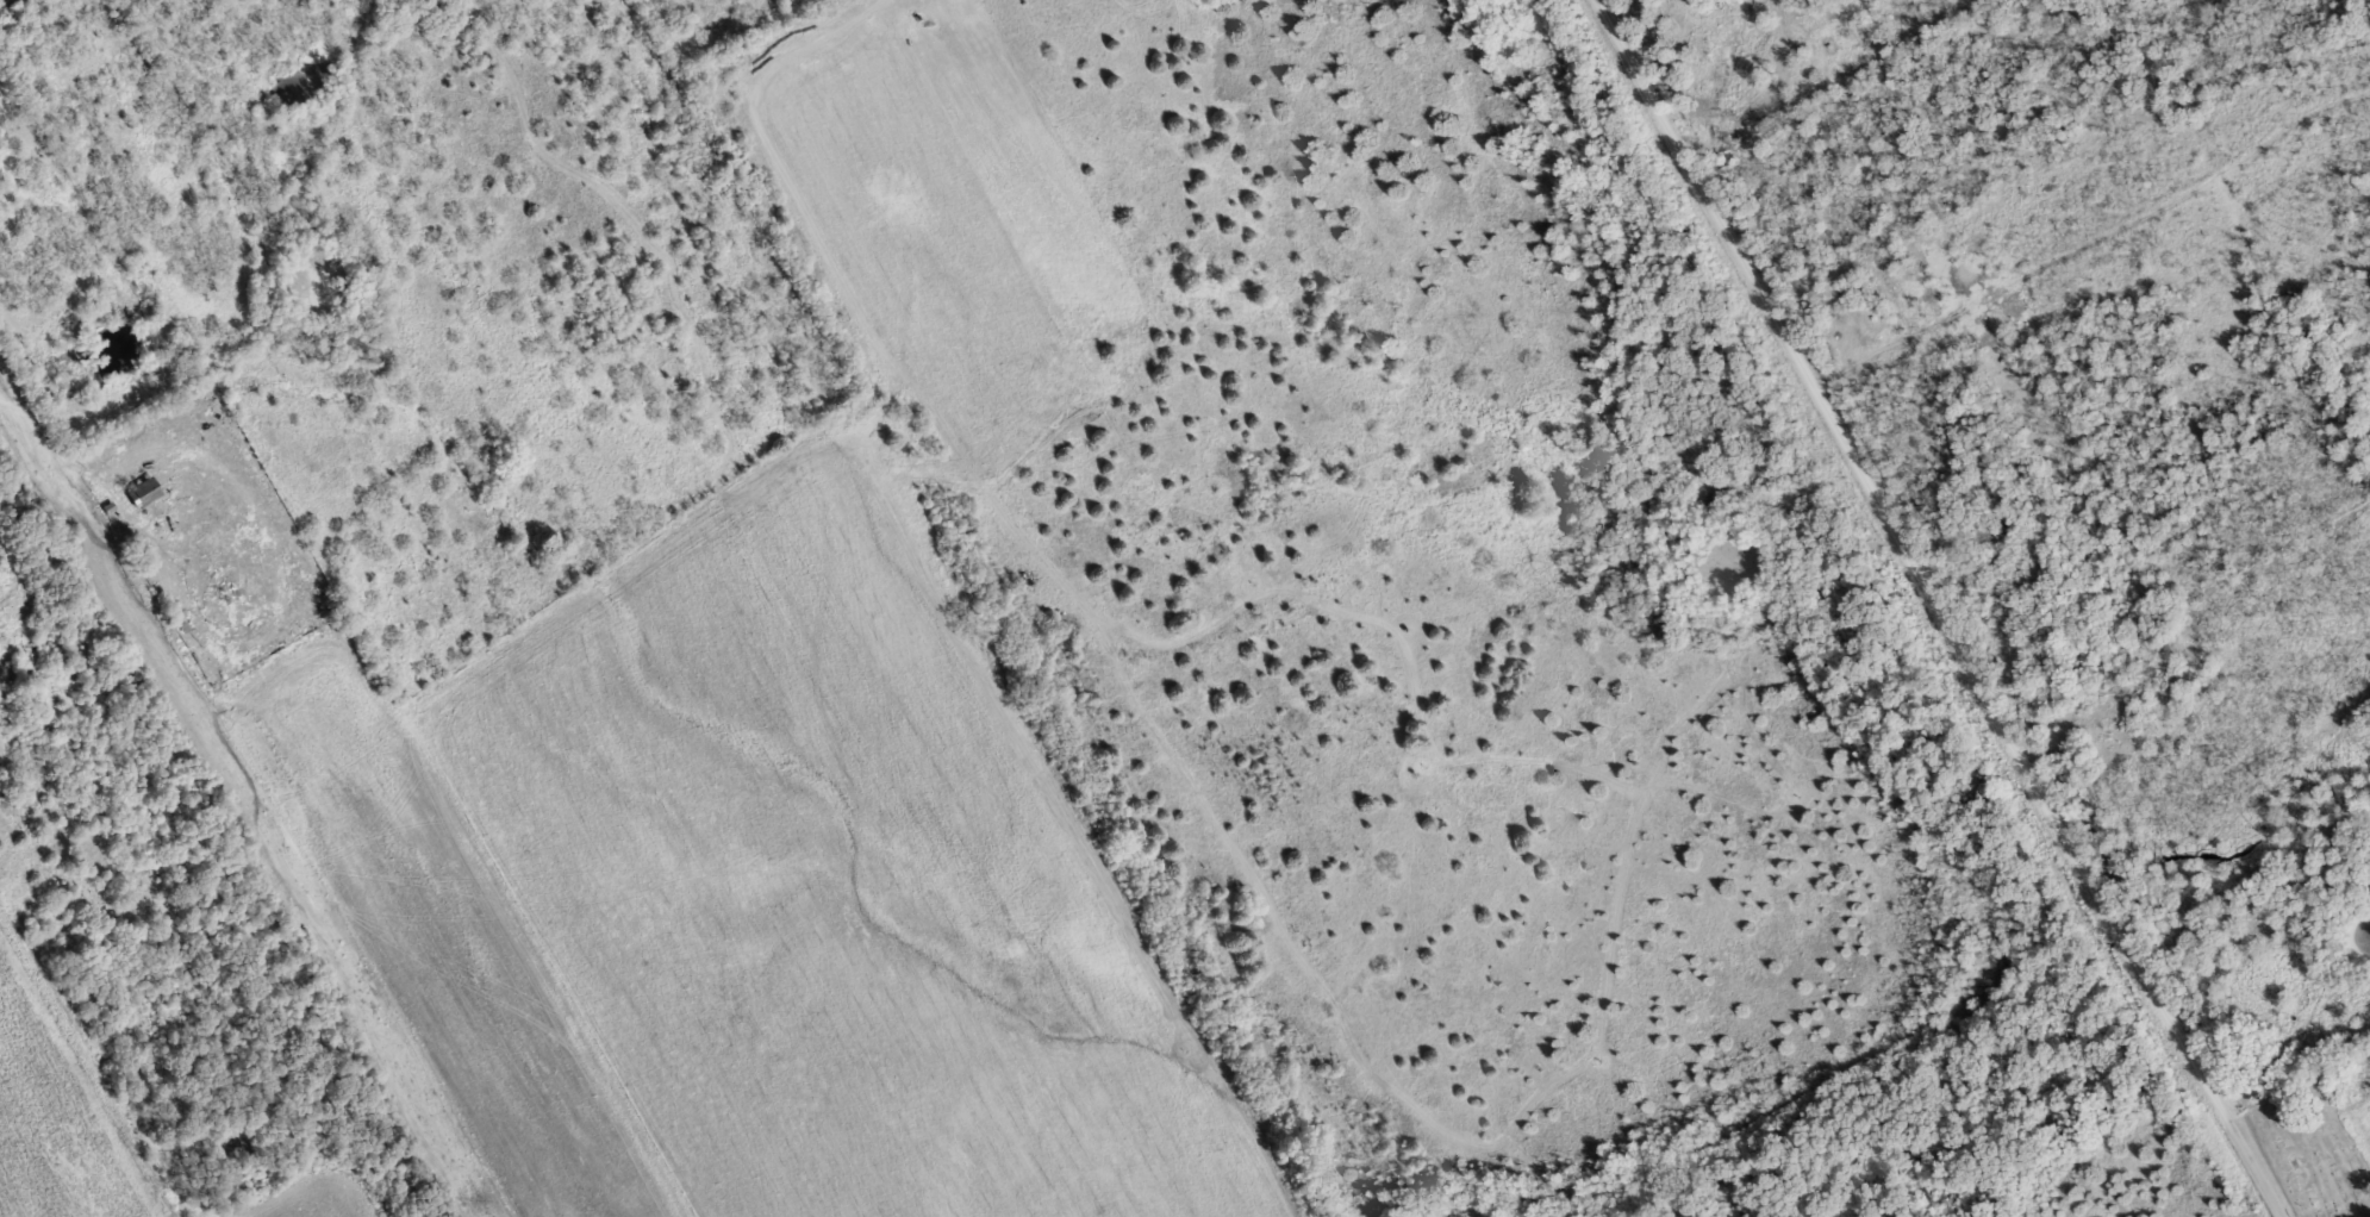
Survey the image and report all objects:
road: (58, 455)
building: (143, 493)
road: (15, 580)
road: (1938, 608)
park: (2312, 1149)

